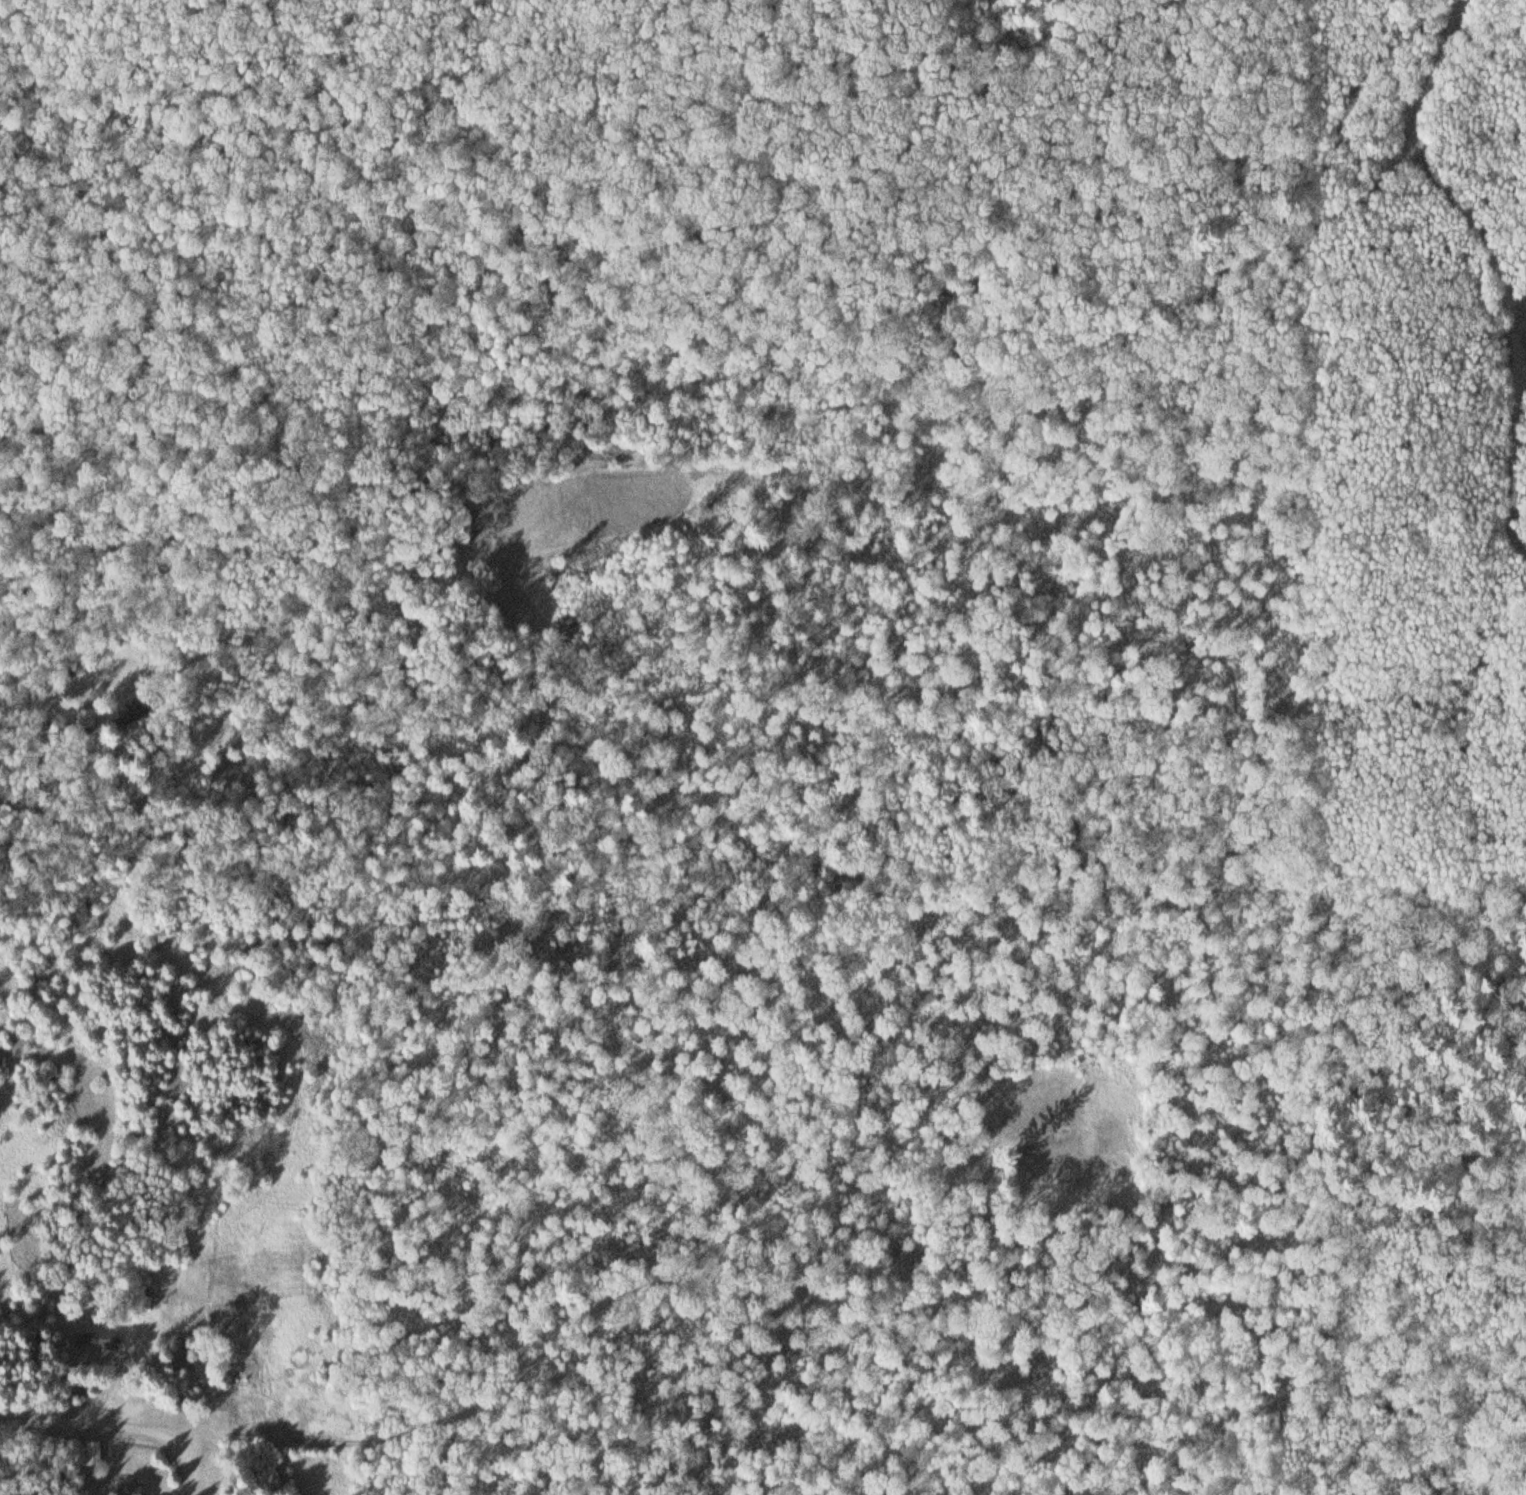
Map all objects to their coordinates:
road: (405, 239)
road: (1516, 341)
road: (676, 408)
building: (81, 718)
road: (614, 1296)
building: (93, 1338)
road: (90, 1424)
building: (90, 1453)
building: (124, 1488)

